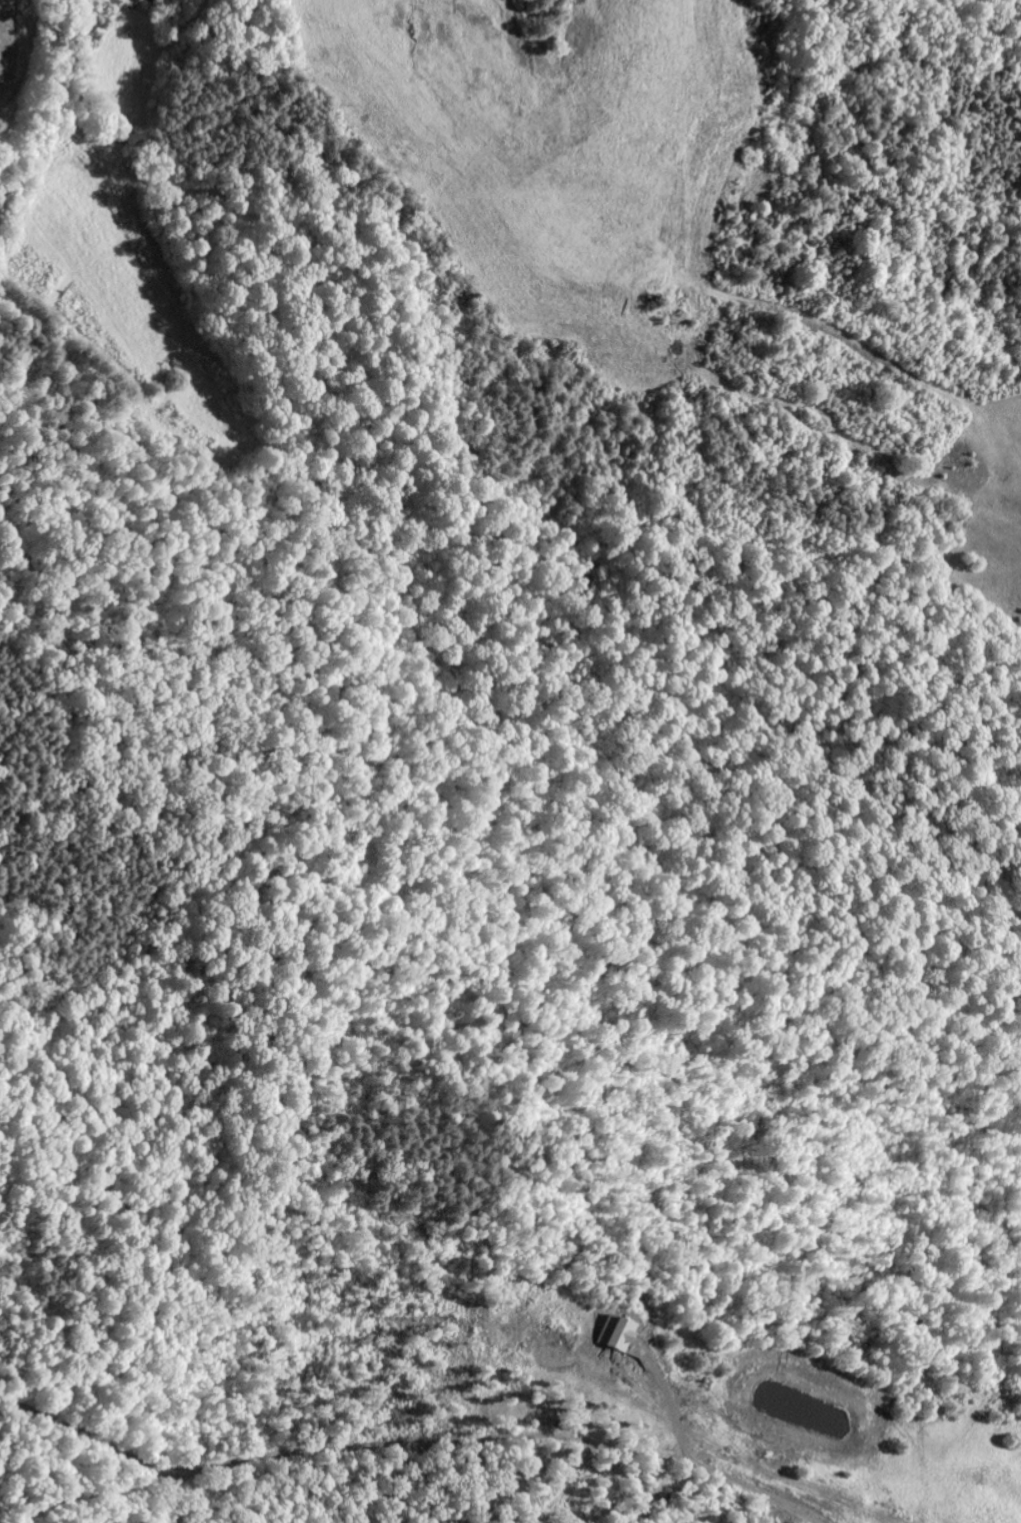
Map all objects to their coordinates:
building: (620, 1334)

